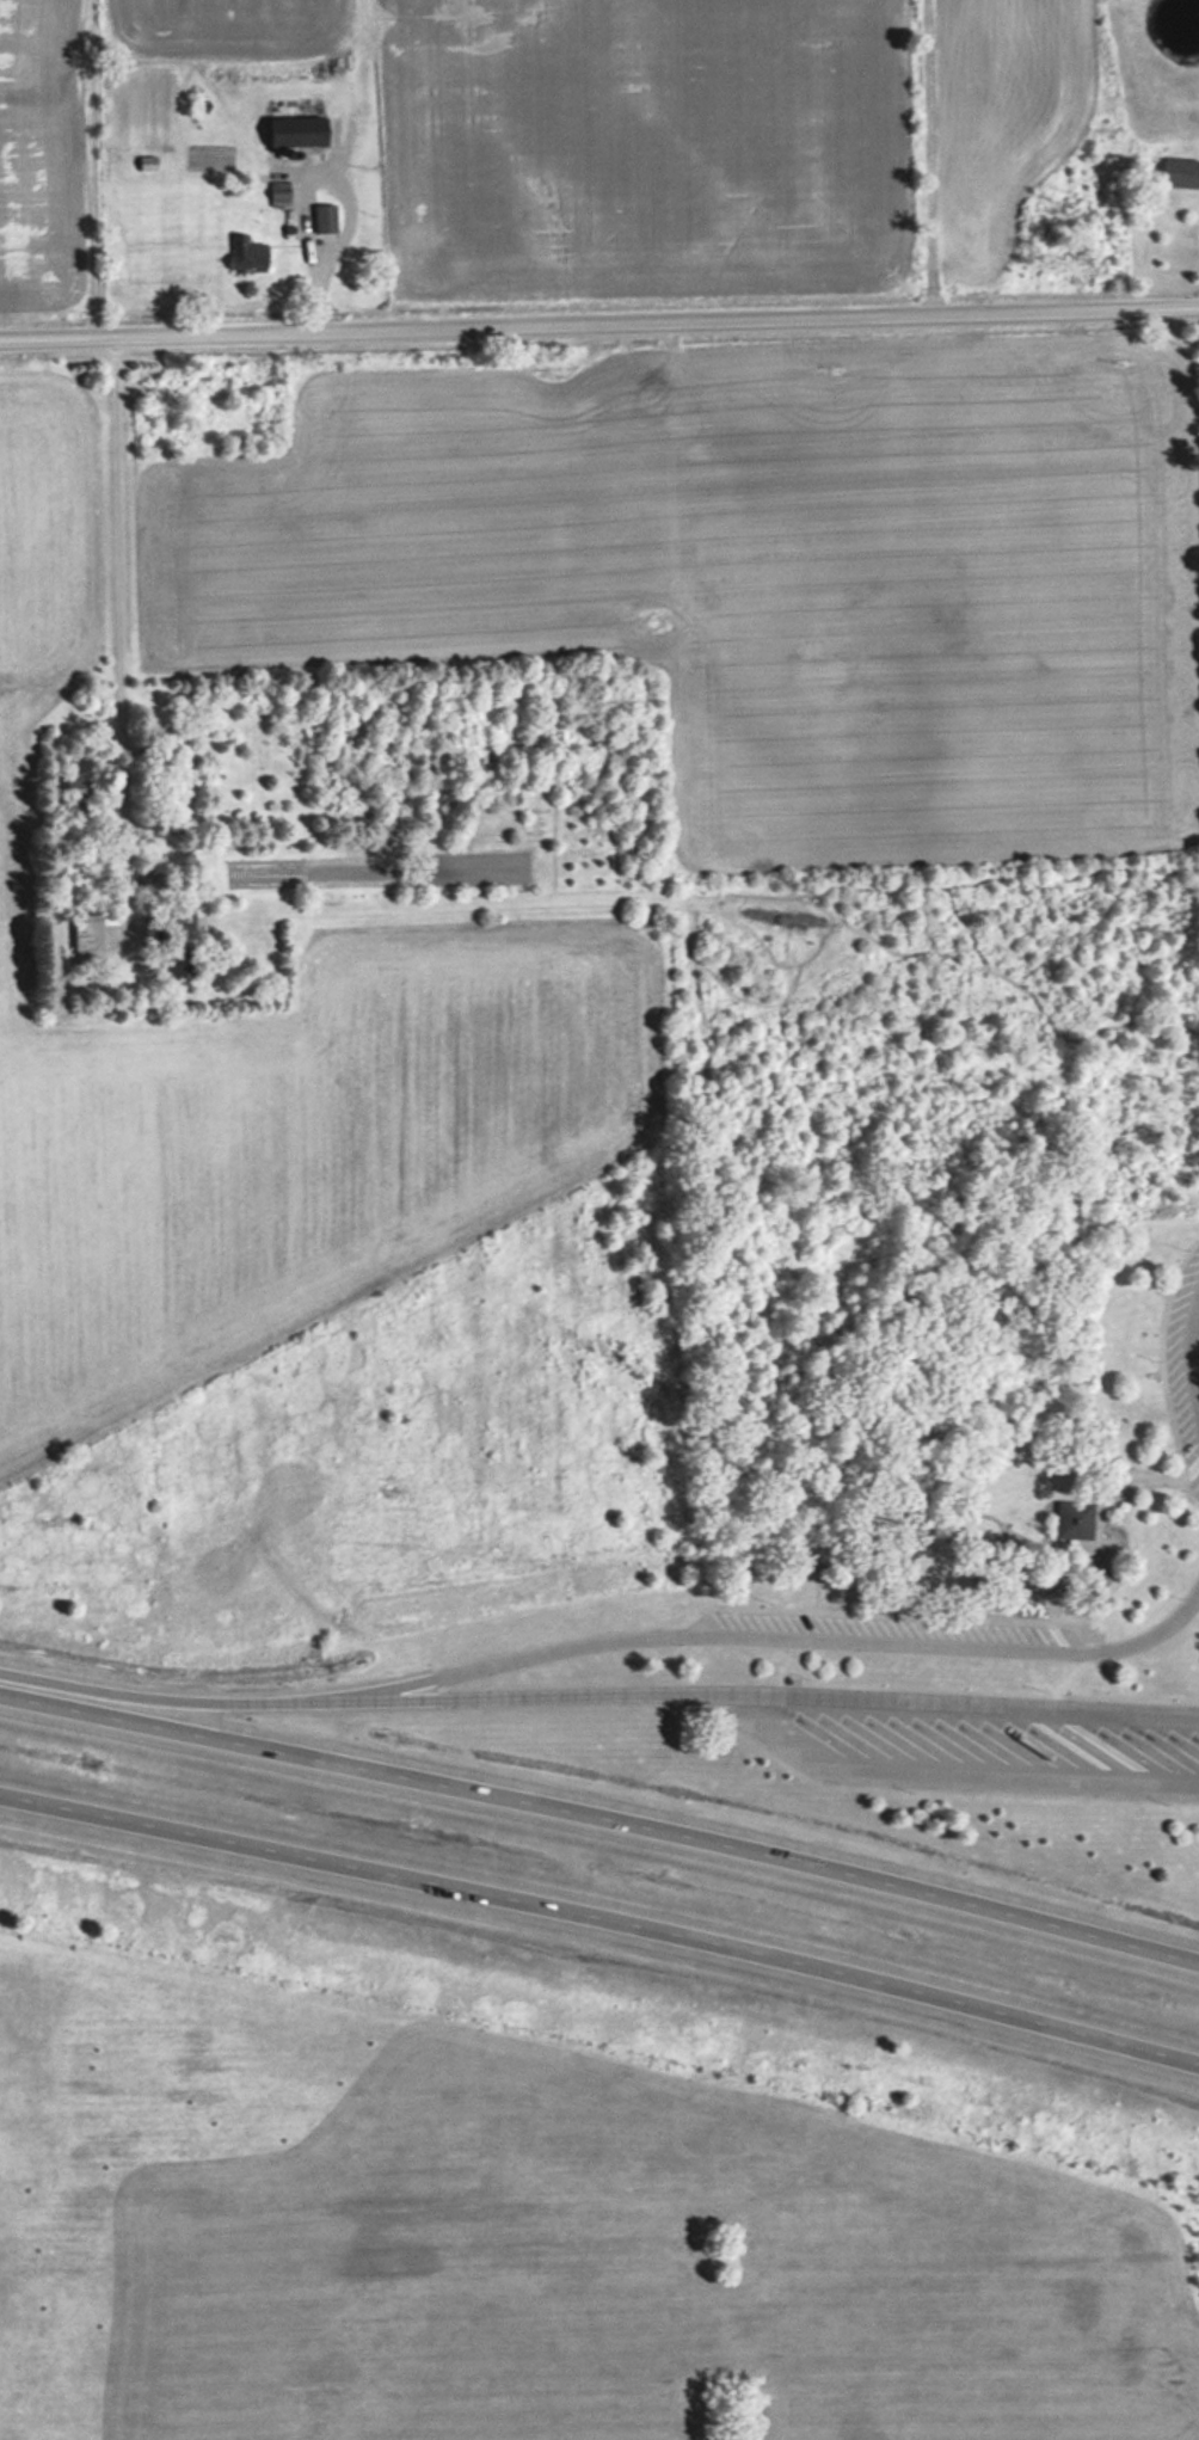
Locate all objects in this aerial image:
building: (310, 131)
building: (1170, 171)
building: (330, 217)
building: (251, 251)
road: (599, 324)
road: (122, 518)
road: (1183, 1356)
parking lot: (1186, 1363)
road: (1158, 1366)
road: (1102, 1504)
building: (1068, 1519)
road: (929, 1526)
road: (893, 1549)
road: (906, 1567)
road: (1050, 1574)
road: (1017, 1592)
road: (1054, 1608)
road: (903, 1614)
parking lot: (884, 1634)
road: (773, 1635)
road: (1078, 1667)
road: (1105, 1677)
road: (992, 1691)
road: (762, 1692)
road: (161, 1698)
parking lot: (969, 1739)
road: (933, 1777)
road: (601, 1818)
road: (601, 1919)

